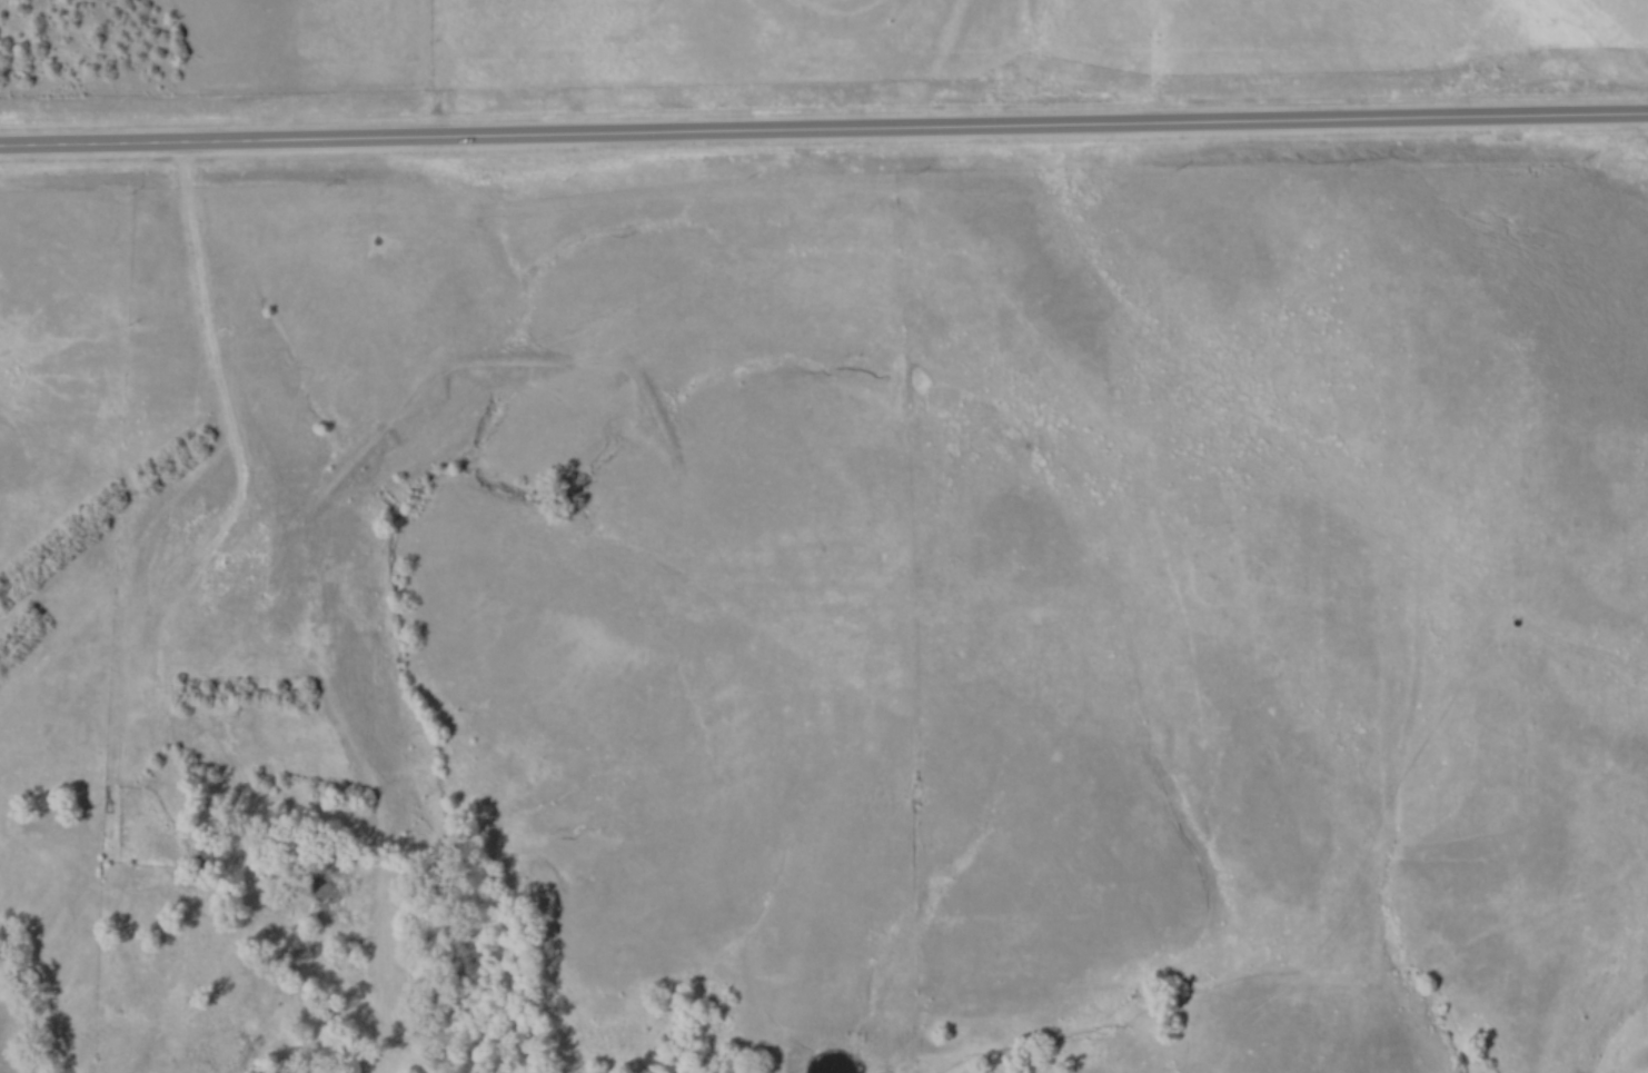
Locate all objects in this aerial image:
road: (824, 137)

